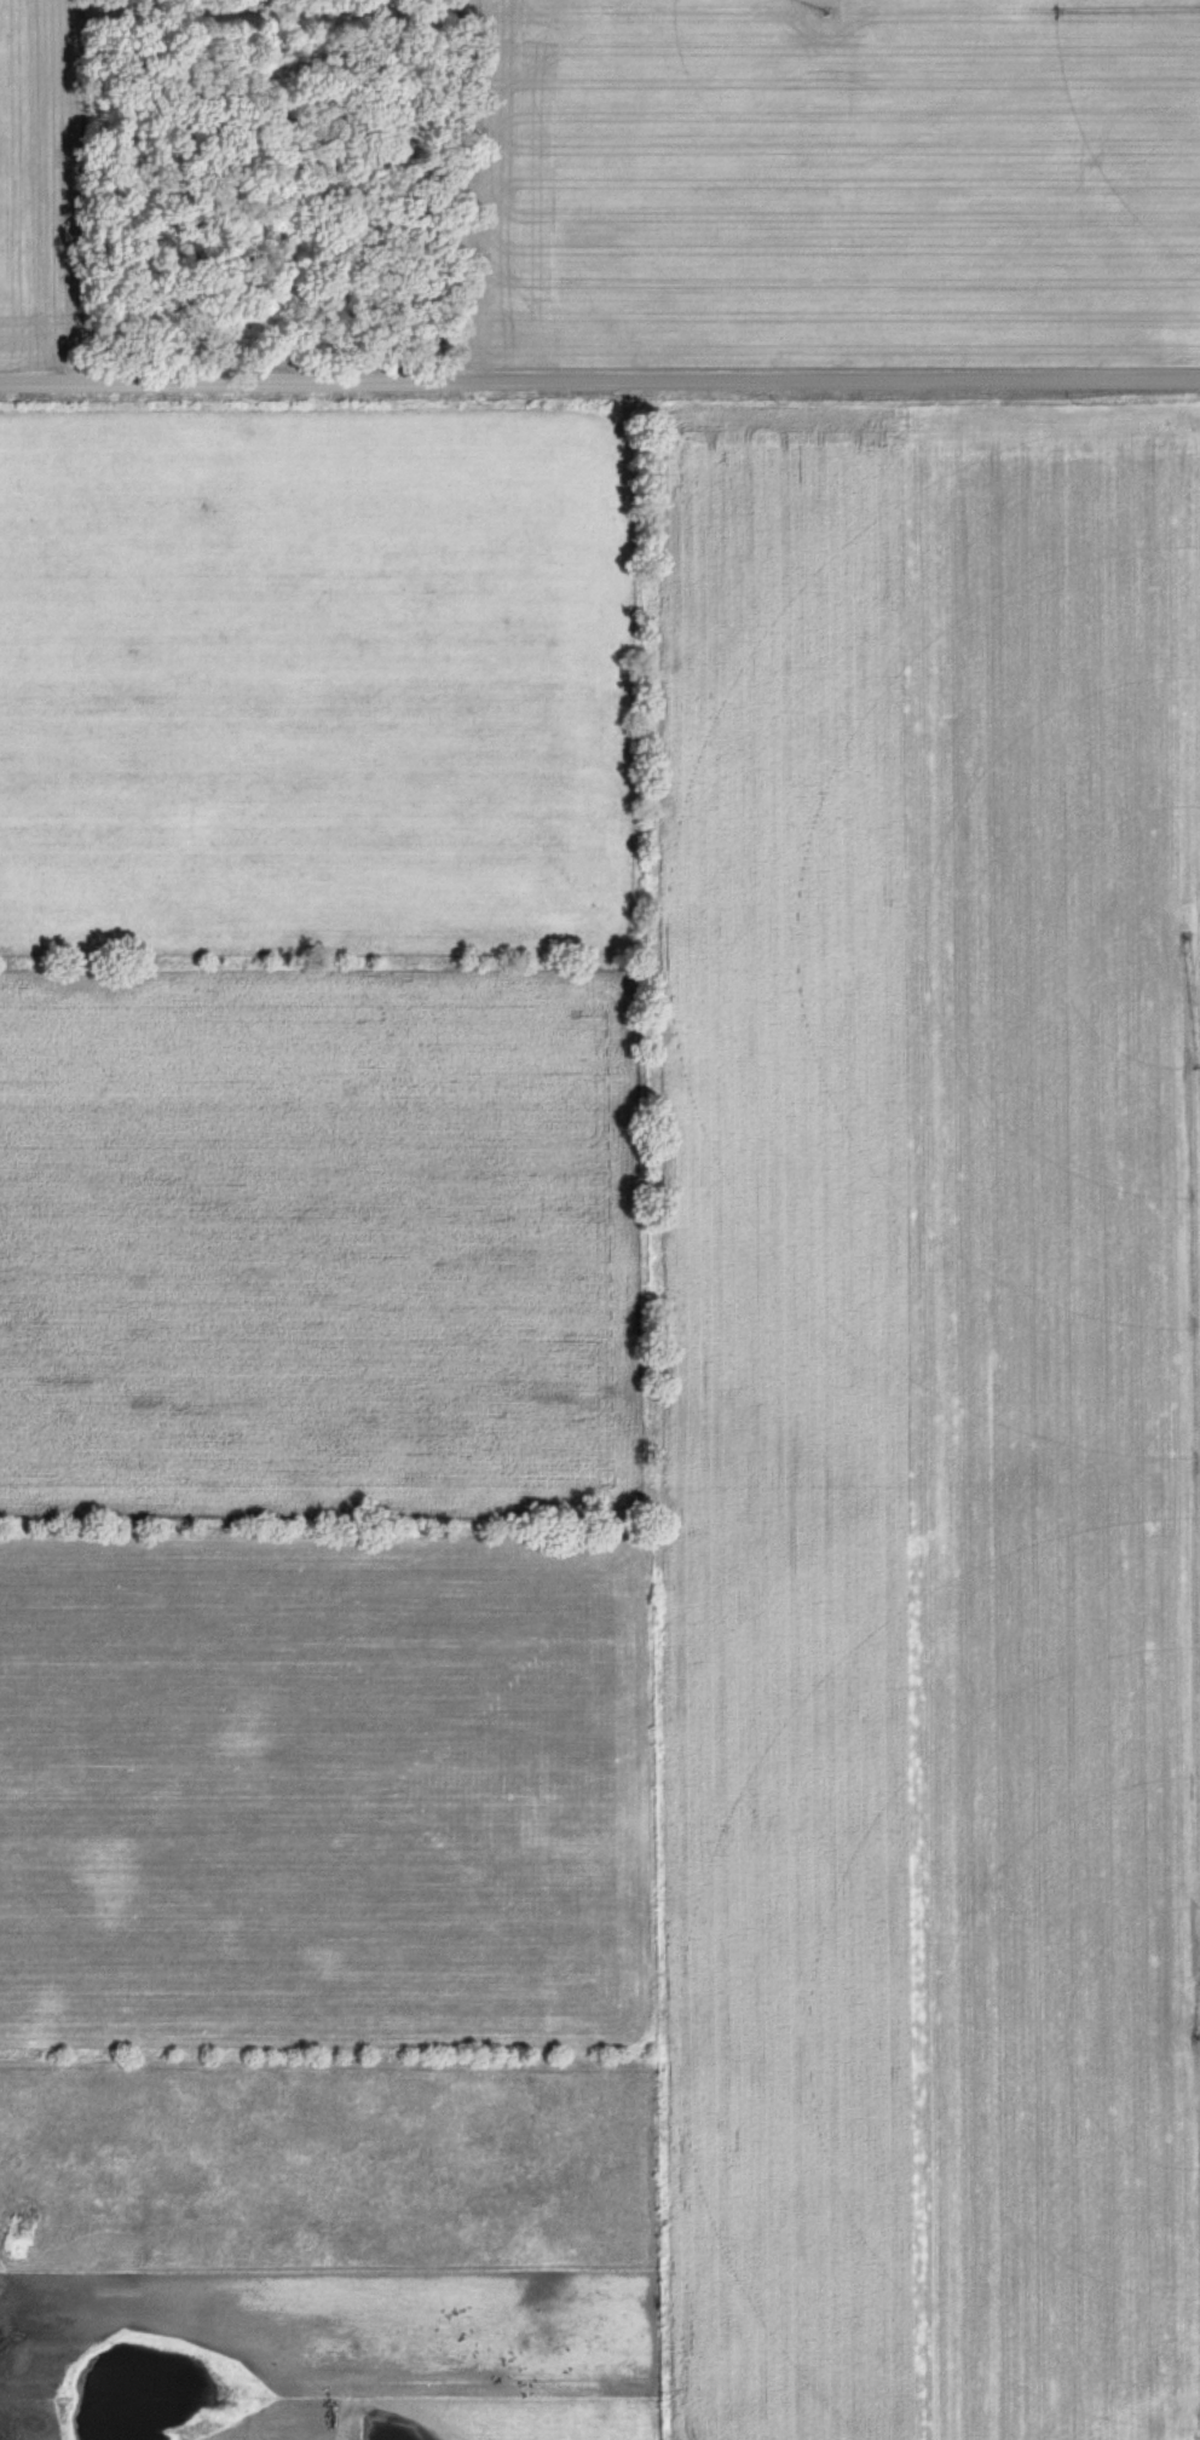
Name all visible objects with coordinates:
crop: (827, 200)
road: (599, 372)
crop: (600, 1420)

